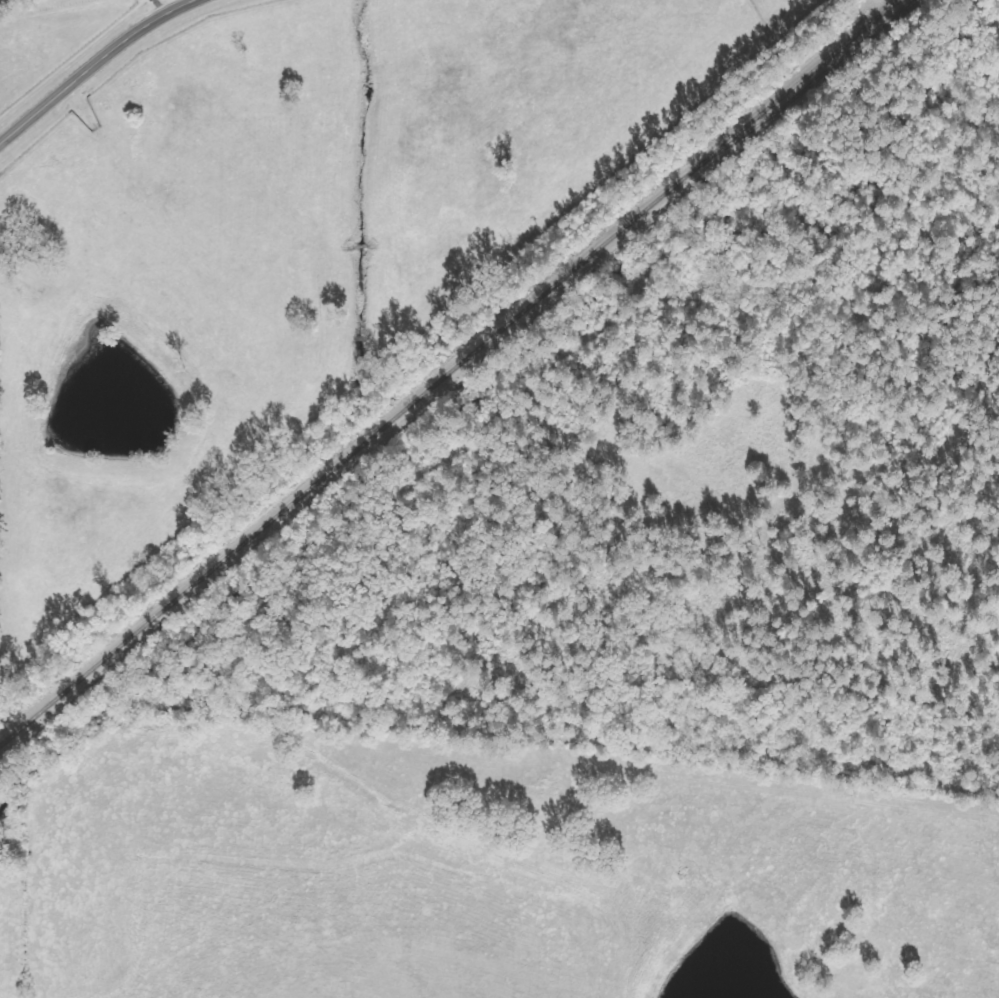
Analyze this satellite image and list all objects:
road: (95, 66)
railway: (804, 87)
railway: (446, 369)

